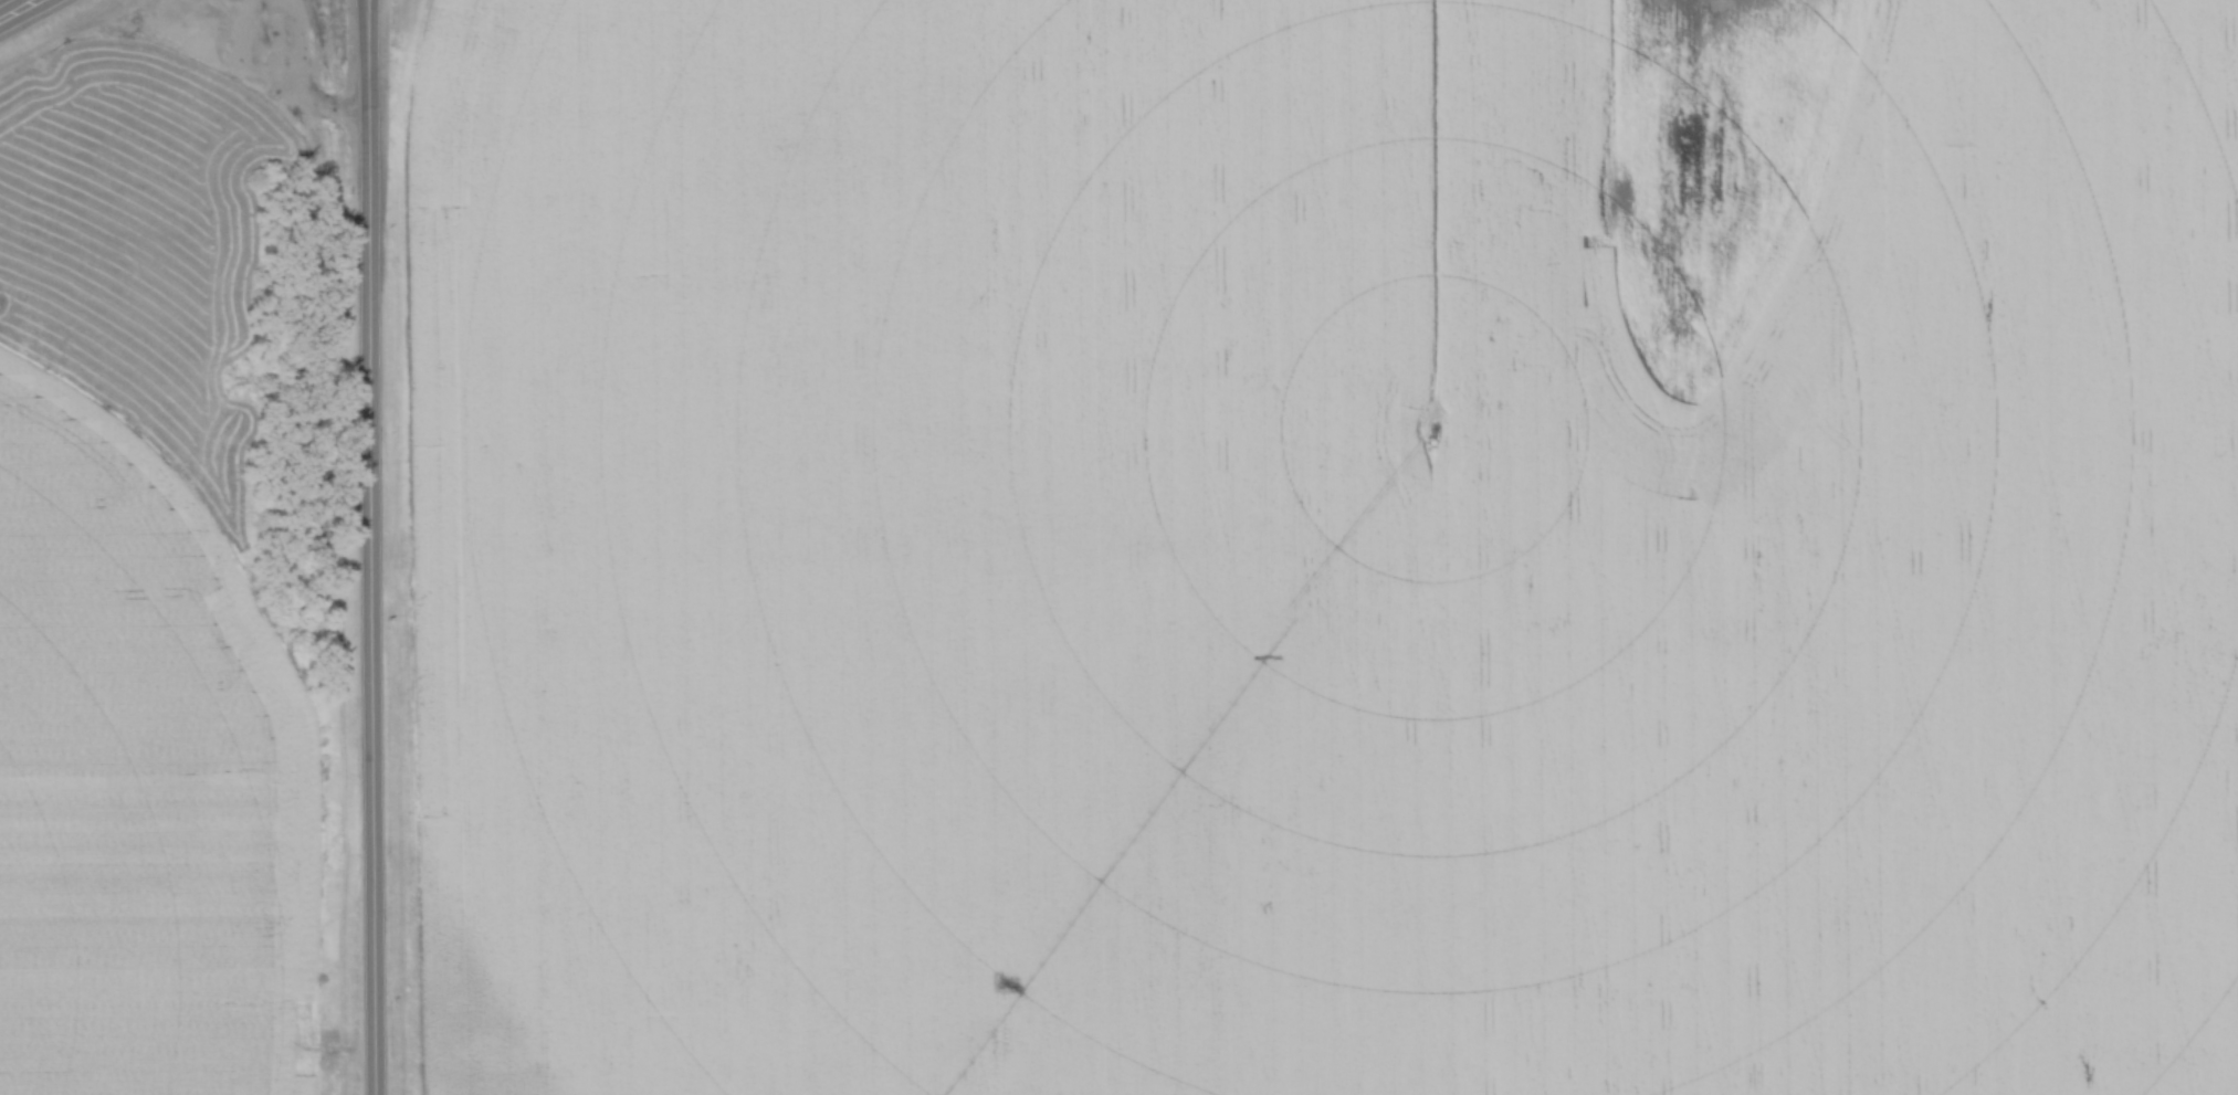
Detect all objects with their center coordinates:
road: (22, 12)
road: (371, 14)
road: (376, 14)
road: (377, 562)

